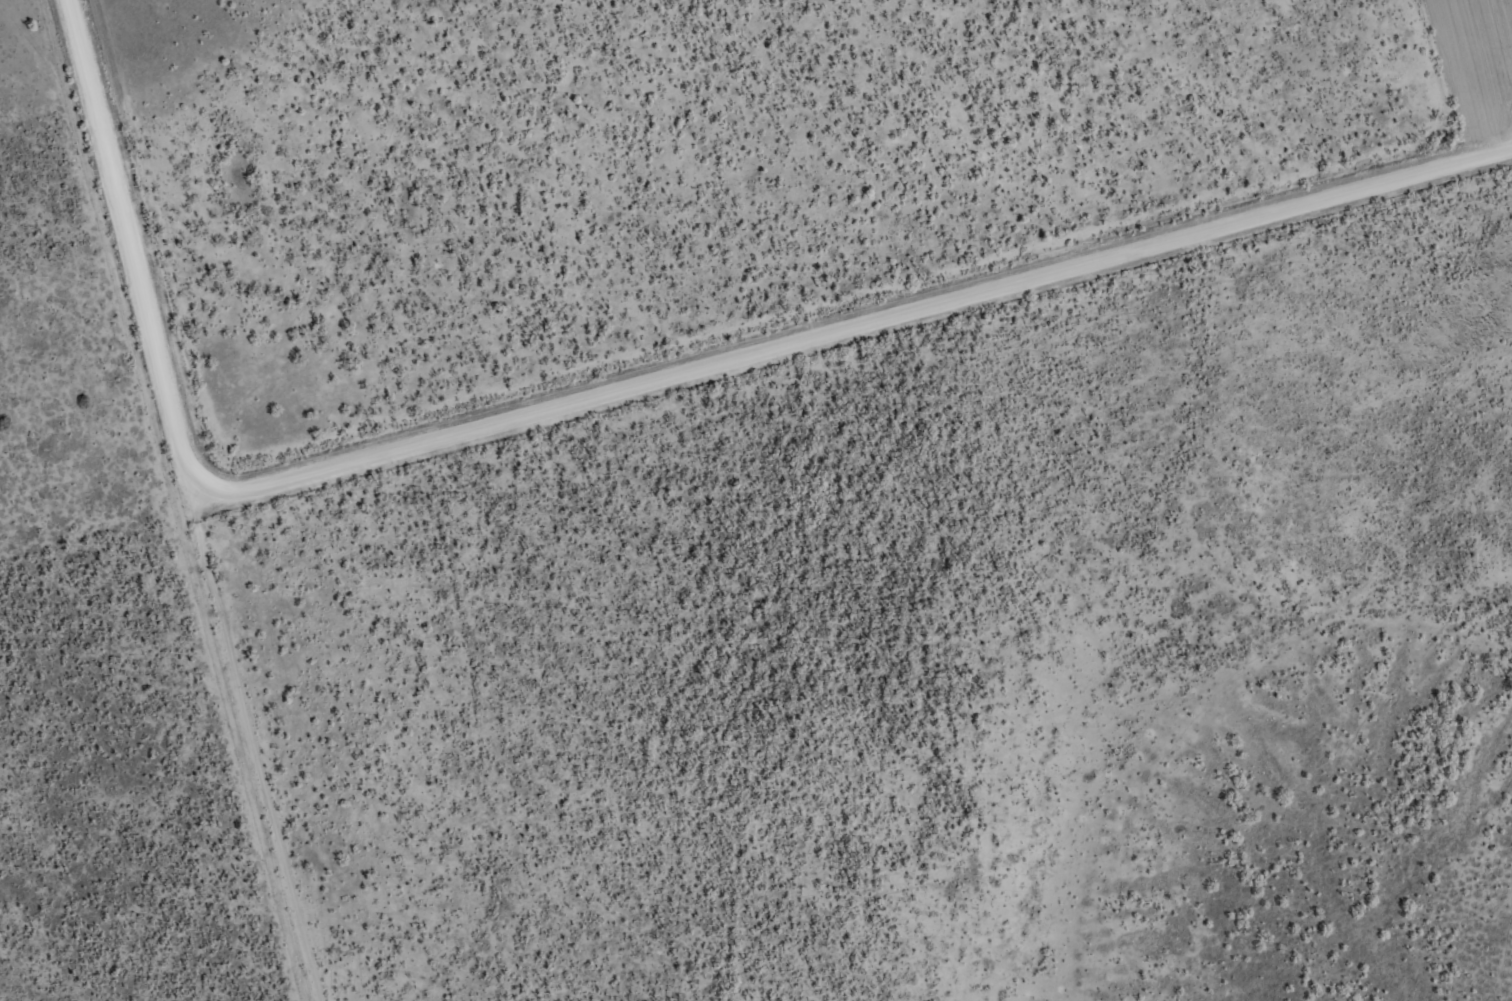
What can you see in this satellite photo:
road: (603, 394)
road: (260, 752)

